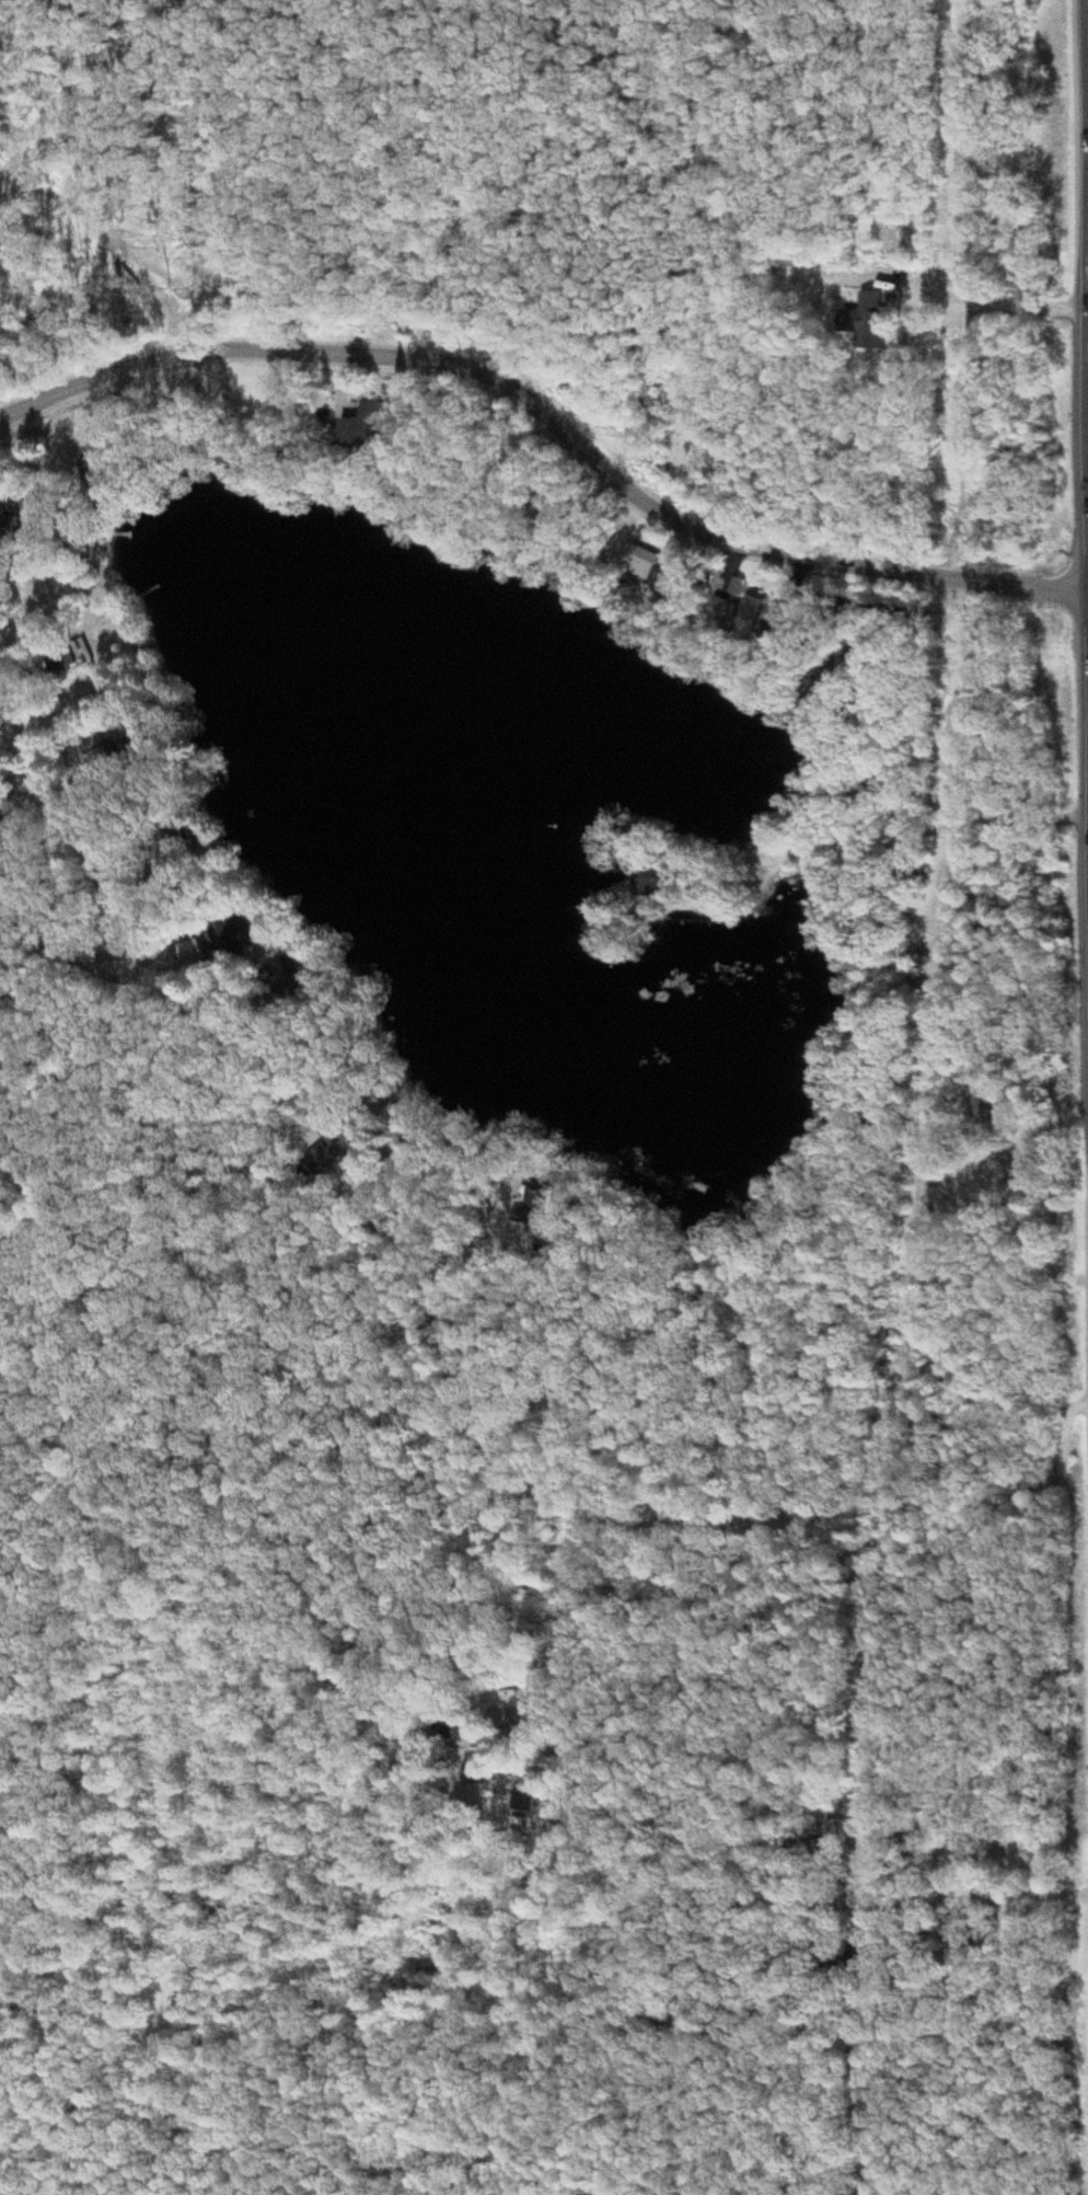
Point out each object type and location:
building: (863, 321)
road: (555, 401)
building: (369, 434)
building: (21, 525)
building: (25, 642)
building: (84, 658)
road: (65, 804)
road: (882, 820)
building: (664, 880)
building: (256, 935)
road: (60, 946)
building: (207, 952)
road: (147, 1285)
road: (510, 1705)
road: (912, 1885)

